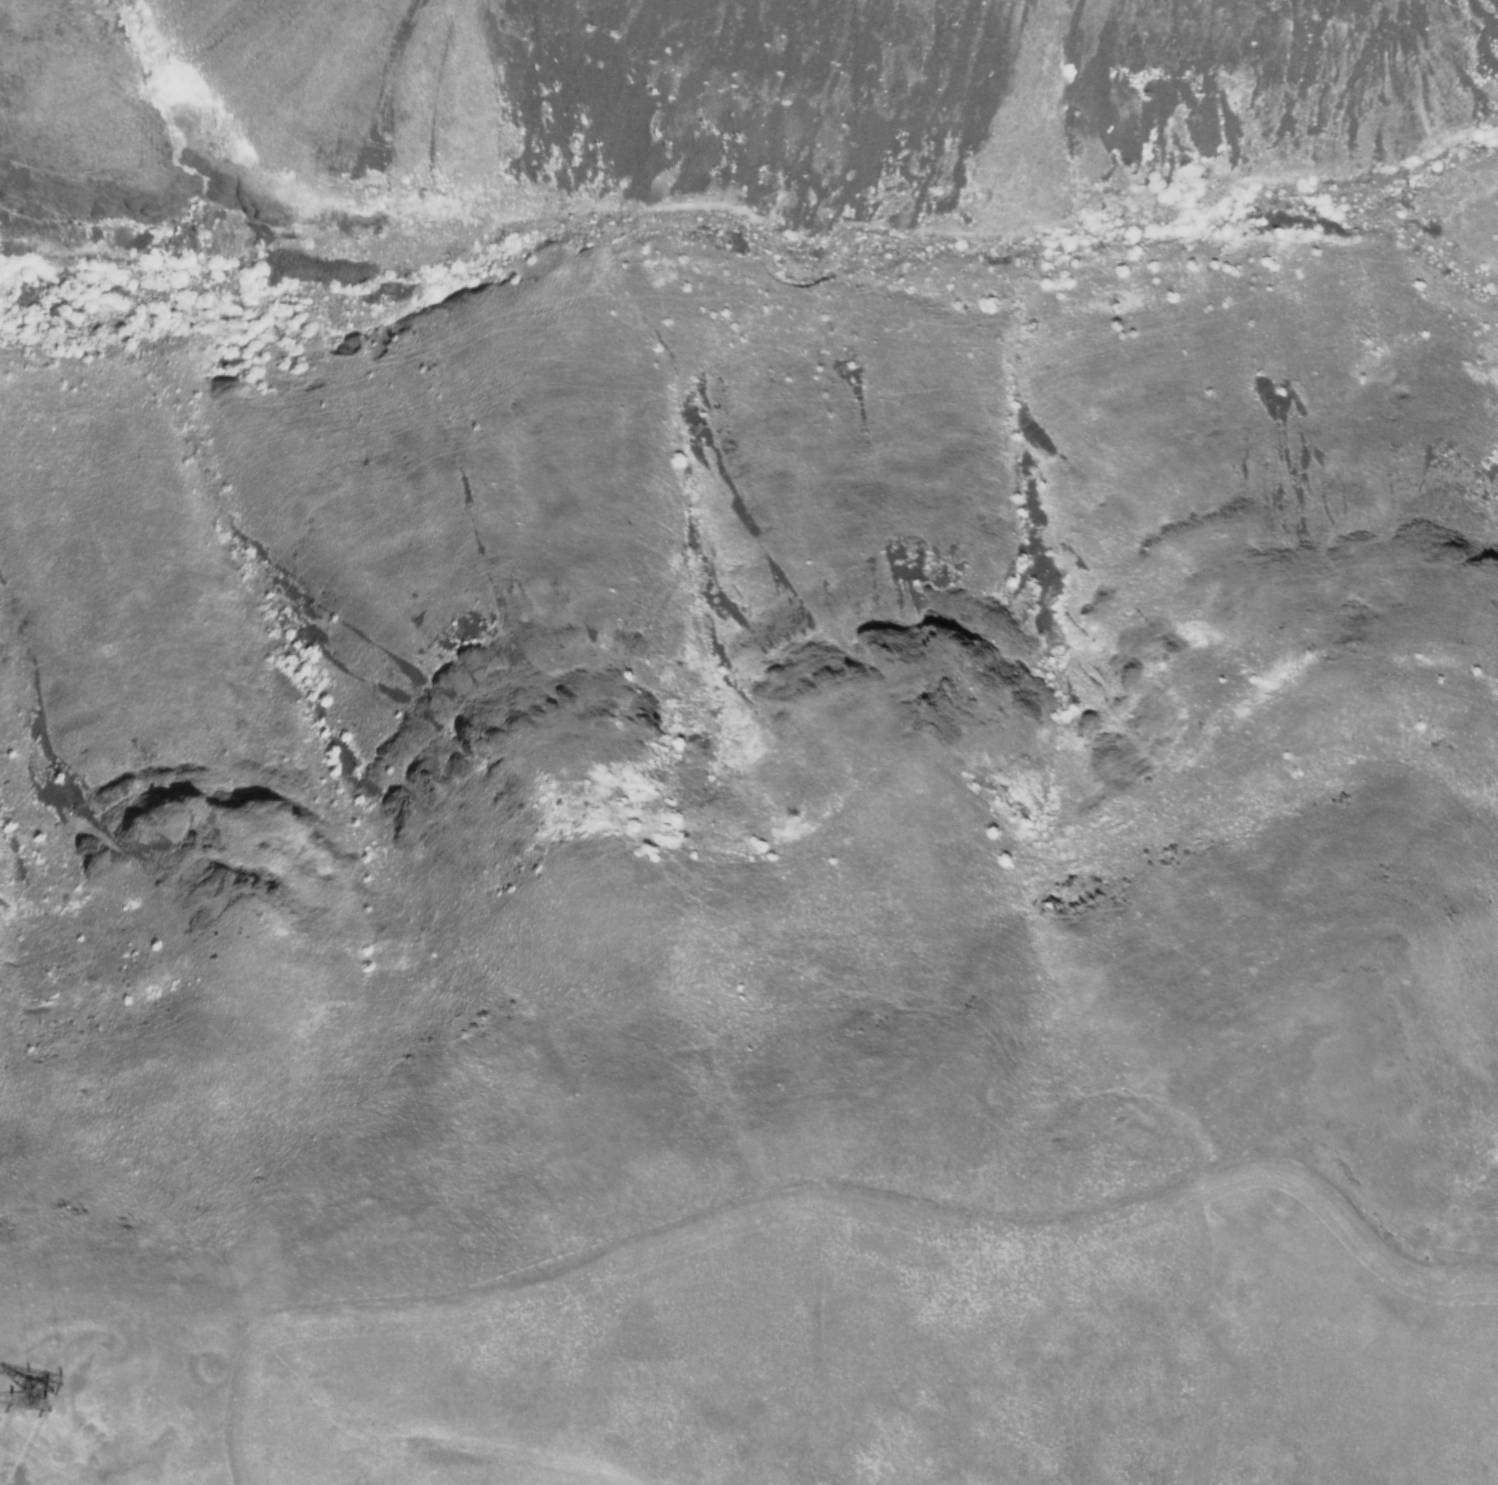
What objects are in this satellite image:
power tower: (49, 1410)

